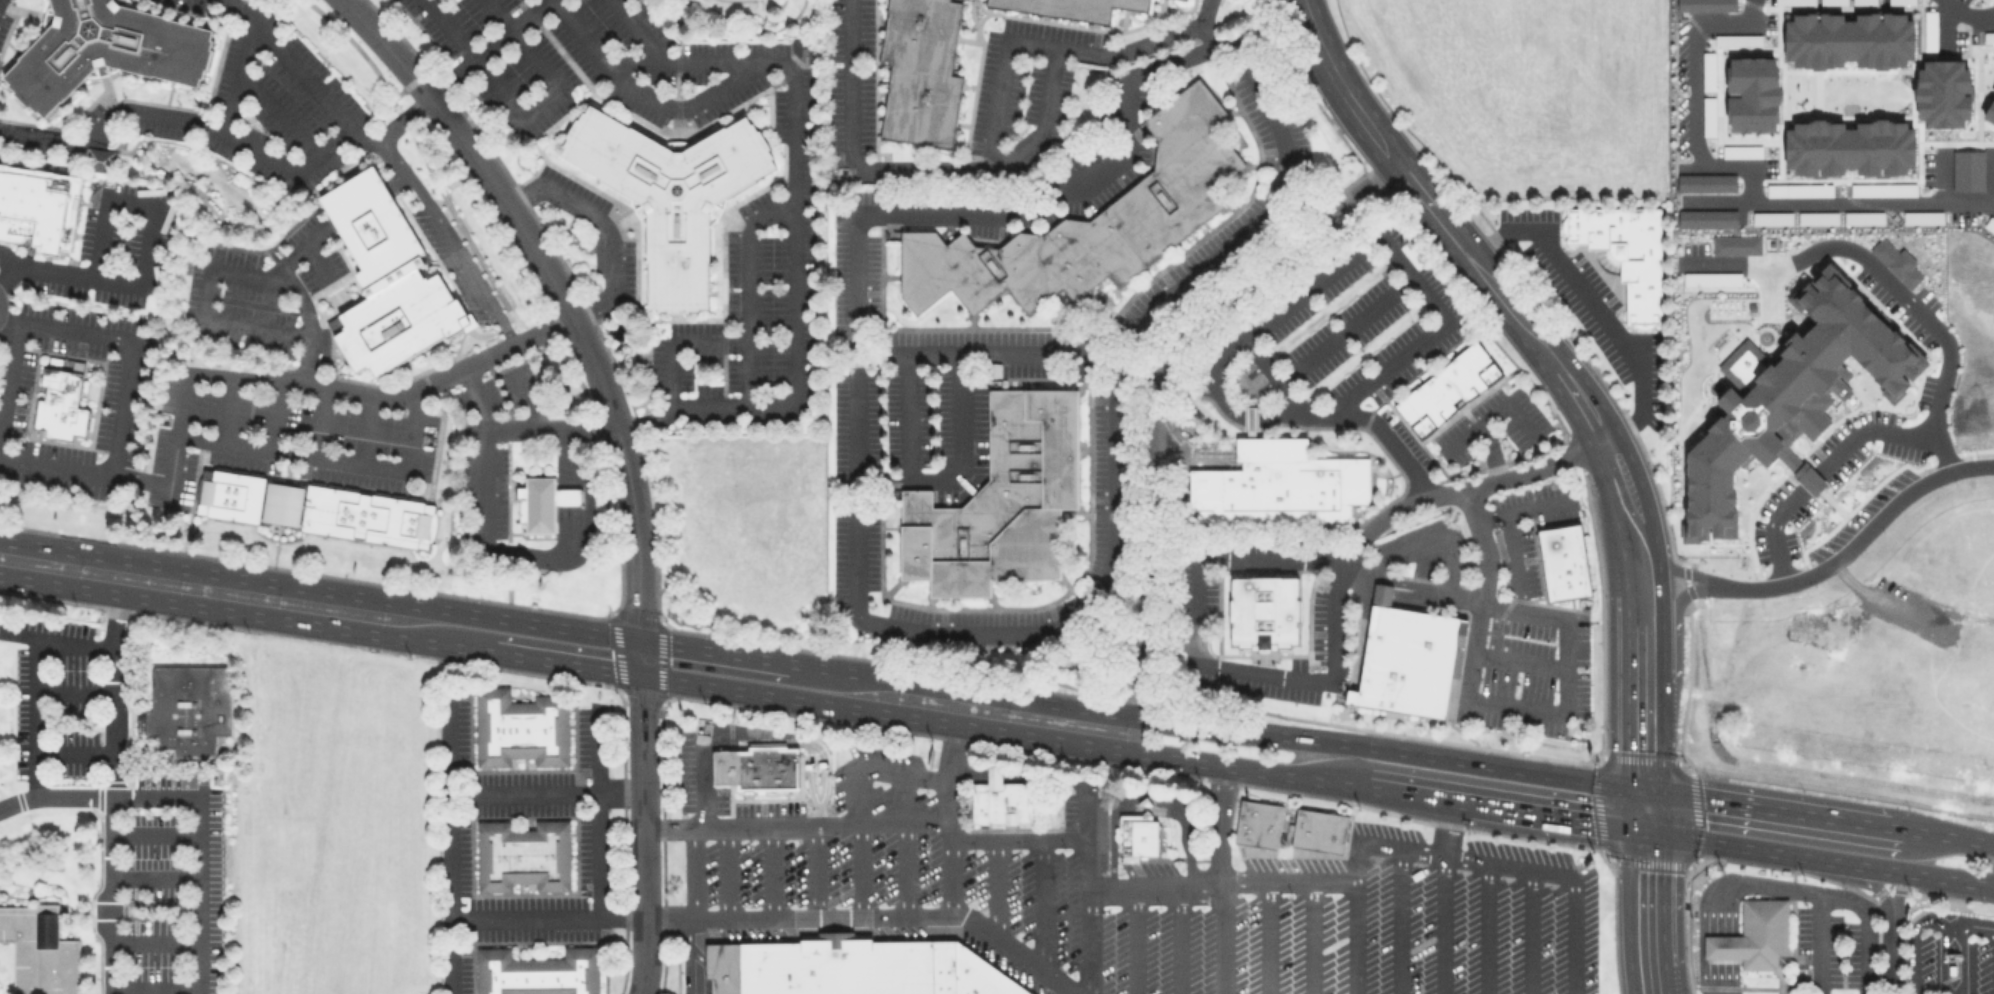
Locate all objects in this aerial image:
building: (1706, 5)
building: (1072, 7)
road: (1968, 14)
park: (738, 19)
road: (637, 30)
road: (731, 32)
road: (677, 39)
building: (1738, 39)
building: (1849, 40)
road: (1141, 44)
road: (384, 47)
road: (483, 48)
building: (804, 48)
building: (106, 49)
road: (683, 60)
building: (920, 71)
road: (239, 75)
road: (303, 75)
road: (1003, 80)
road: (851, 84)
road: (1338, 87)
building: (1752, 93)
building: (1943, 93)
road: (1694, 101)
road: (278, 113)
building: (1990, 113)
road: (526, 115)
road: (182, 119)
building: (1849, 147)
building: (1742, 151)
building: (98, 159)
road: (994, 163)
building: (1968, 170)
road: (1940, 178)
road: (394, 179)
road: (1990, 179)
building: (1706, 182)
park: (209, 188)
building: (1883, 189)
building: (1799, 190)
building: (670, 192)
road: (204, 201)
road: (357, 201)
road: (150, 205)
road: (1838, 205)
building: (38, 206)
road: (1269, 206)
road: (960, 212)
road: (432, 213)
building: (366, 216)
parking lot: (366, 216)
building: (1863, 217)
building: (1922, 217)
building: (1707, 218)
building: (1772, 218)
building: (1817, 218)
building: (1088, 223)
road: (605, 225)
road: (1379, 235)
building: (1736, 245)
building: (1625, 252)
road: (8, 258)
road: (316, 261)
building: (1897, 262)
road: (1736, 264)
road: (54, 271)
road: (8, 274)
road: (211, 274)
building: (1710, 279)
road: (751, 290)
road: (1891, 293)
road: (1503, 300)
road: (1594, 305)
building: (396, 311)
road: (7, 319)
road: (307, 321)
road: (1345, 330)
road: (86, 333)
road: (678, 343)
road: (584, 349)
road: (1036, 351)
road: (908, 352)
road: (1151, 385)
road: (1183, 386)
building: (1447, 389)
building: (1788, 396)
road: (530, 398)
road: (1223, 401)
building: (60, 405)
road: (229, 407)
road: (670, 409)
road: (275, 413)
road: (1493, 413)
road: (907, 415)
building: (1250, 418)
road: (320, 420)
road: (1377, 427)
road: (518, 428)
road: (365, 429)
road: (1885, 431)
road: (1492, 451)
road: (333, 456)
road: (957, 458)
road: (57, 466)
road: (565, 470)
road: (1809, 480)
road: (486, 482)
building: (1278, 485)
road: (1465, 491)
road: (565, 496)
road: (192, 500)
building: (1001, 500)
building: (542, 502)
building: (314, 507)
road: (1522, 509)
road: (1772, 532)
road: (565, 535)
road: (584, 539)
road: (1859, 541)
road: (1428, 542)
road: (1512, 559)
building: (1564, 564)
road: (1673, 573)
road: (1410, 583)
road: (508, 585)
road: (320, 586)
road: (1885, 602)
building: (1263, 611)
road: (245, 612)
road: (1643, 615)
road: (1035, 630)
road: (55, 638)
traffic signals: (640, 638)
road: (1671, 638)
road: (715, 650)
road: (640, 656)
building: (1407, 658)
road: (1520, 661)
road: (565, 662)
road: (1333, 665)
traffic signals: (640, 674)
road: (72, 692)
parking lot: (55, 697)
road: (1503, 702)
building: (189, 708)
road: (32, 716)
road: (1216, 726)
building: (520, 727)
road: (1456, 728)
road: (1001, 730)
road: (800, 738)
road: (449, 740)
road: (71, 753)
building: (757, 766)
road: (810, 769)
road: (968, 775)
road: (993, 776)
road: (1043, 778)
road: (701, 783)
road: (546, 791)
parking lot: (723, 792)
road: (111, 793)
traffic signals: (1641, 793)
road: (859, 794)
road: (1414, 796)
road: (54, 797)
building: (1000, 799)
building: (1146, 802)
road: (1115, 808)
road: (1641, 812)
road: (1187, 813)
road: (1774, 813)
road: (598, 815)
road: (1553, 817)
road: (950, 818)
road: (822, 823)
building: (1258, 823)
road: (1219, 824)
road: (669, 826)
road: (1446, 828)
building: (1318, 829)
traffic signals: (1641, 831)
building: (1139, 832)
road: (154, 834)
road: (645, 834)
road: (1018, 838)
road: (1950, 840)
road: (904, 842)
road: (1376, 844)
road: (1765, 850)
road: (198, 851)
building: (523, 854)
road: (815, 869)
road: (727, 871)
road: (772, 871)
road: (694, 872)
road: (154, 877)
road: (1861, 877)
road: (1942, 877)
road: (1751, 884)
parking lot: (171, 885)
road: (997, 888)
road: (1088, 889)
road: (1899, 889)
road: (450, 893)
parking lot: (1167, 903)
road: (1856, 903)
road: (1040, 905)
road: (1646, 912)
road: (774, 916)
road: (1973, 920)
road: (1398, 921)
road: (1952, 922)
road: (1441, 924)
road: (1487, 928)
road: (1530, 931)
road: (1309, 935)
road: (1355, 935)
building: (1756, 935)
road: (1267, 936)
road: (1220, 939)
road: (1912, 939)
road: (154, 940)
road: (1134, 941)
road: (1178, 941)
road: (1823, 945)
road: (1722, 946)
building: (40, 950)
parking lot: (1825, 950)
road: (1866, 950)
road: (1891, 951)
building: (1951, 955)
road: (685, 956)
road: (1963, 959)
road: (1940, 960)
parking lot: (1925, 961)
building: (846, 966)
parking lot: (1984, 966)
building: (721, 967)
building: (537, 972)
road: (1722, 975)
building: (979, 976)
road: (154, 988)

